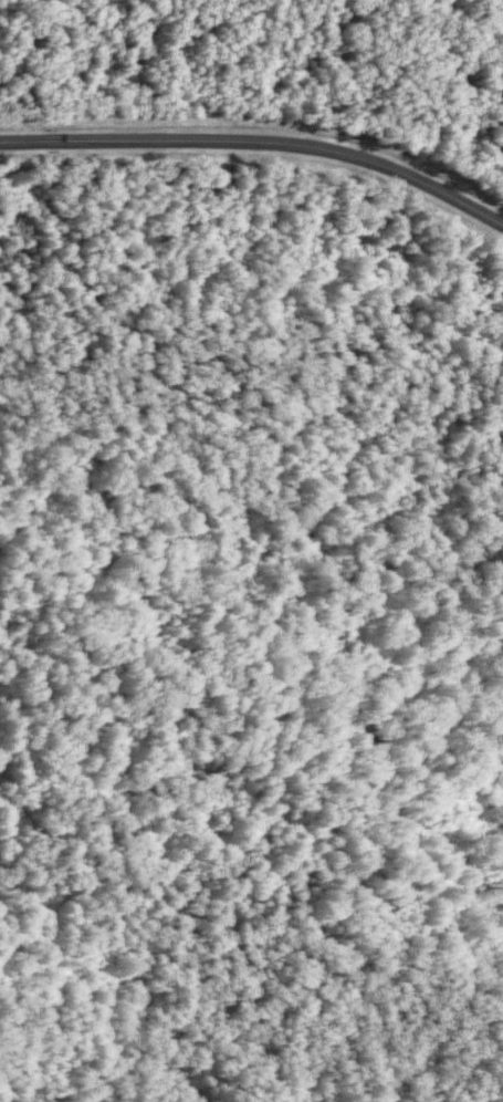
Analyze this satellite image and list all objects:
road: (256, 134)

